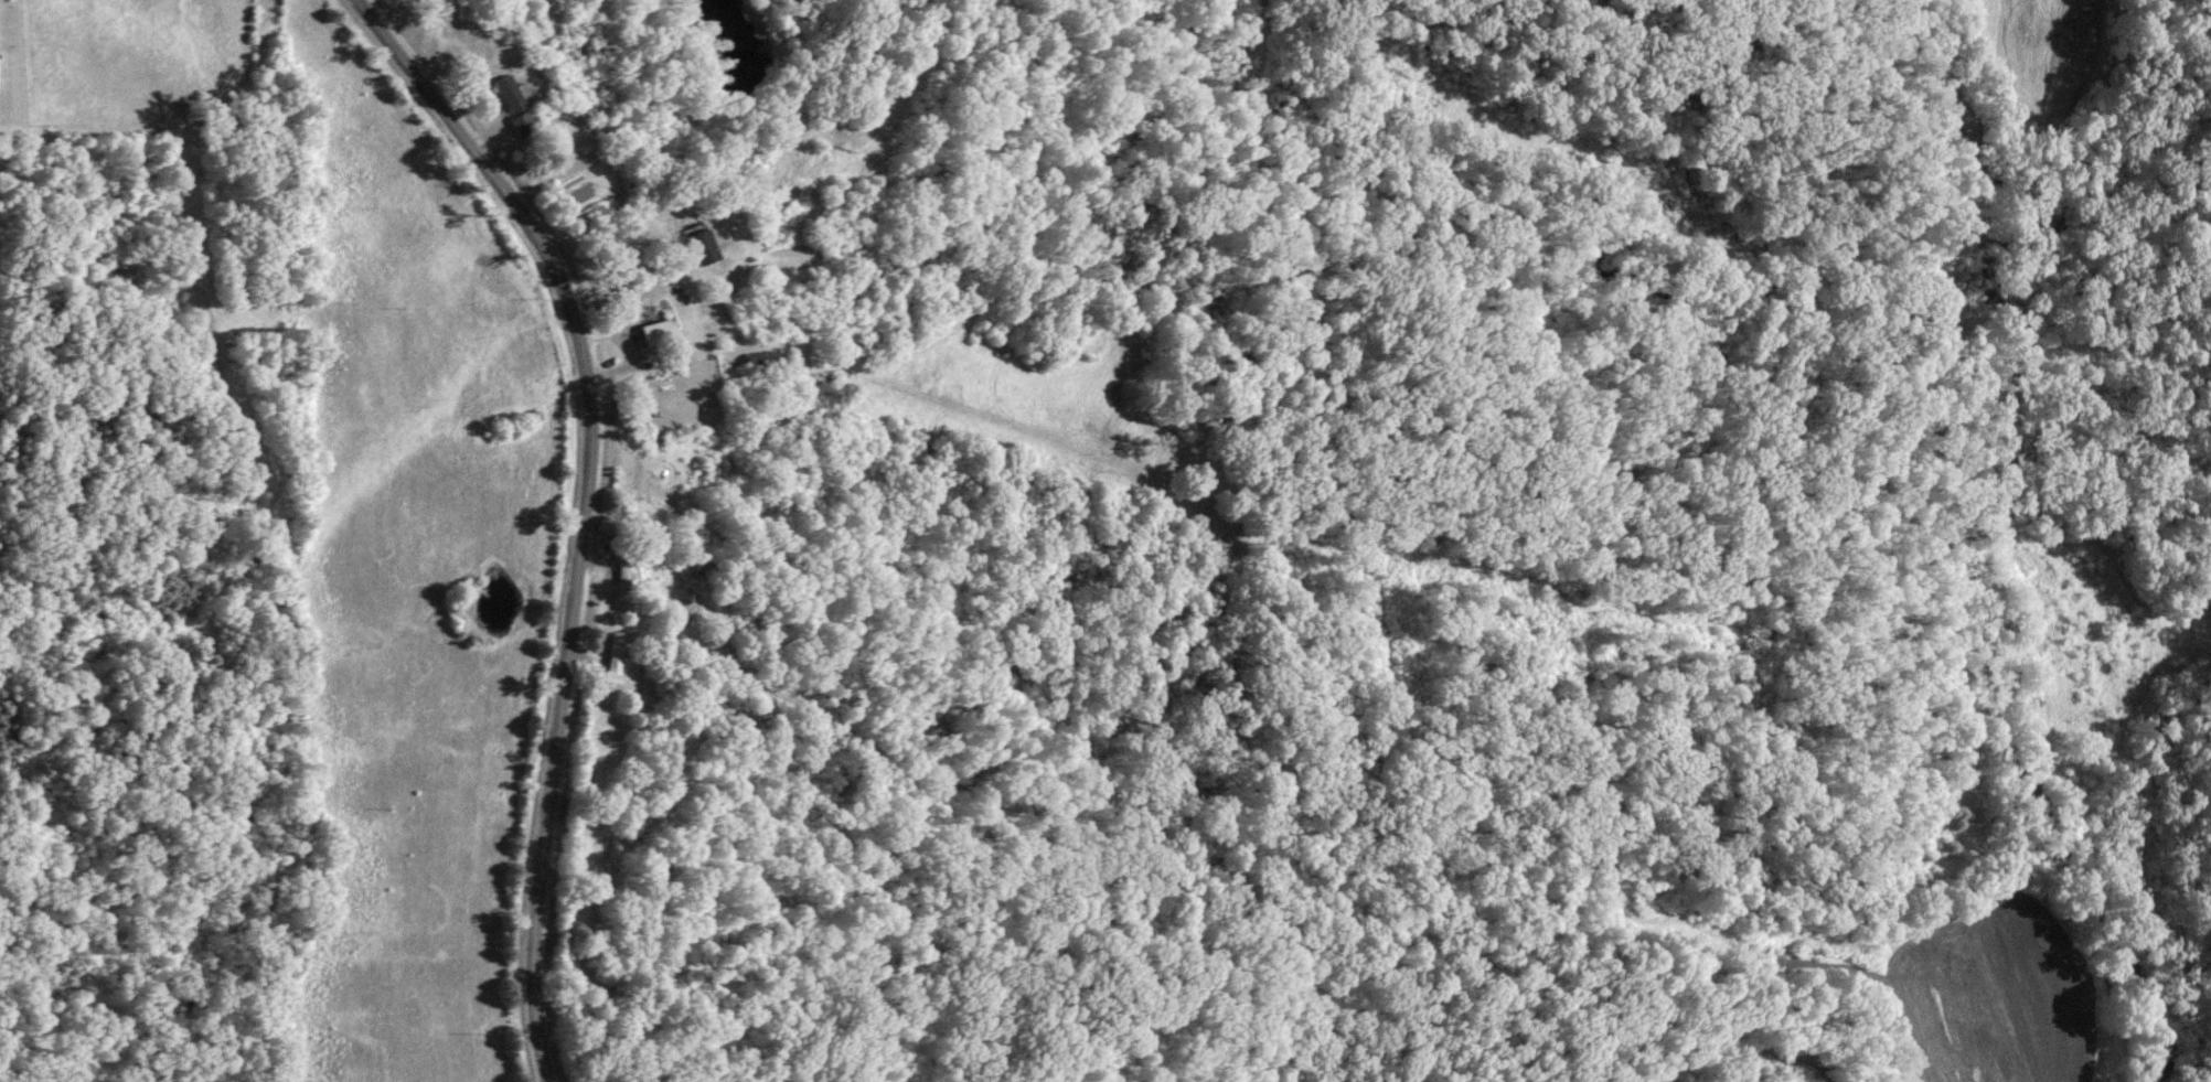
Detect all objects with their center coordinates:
building: (509, 94)
building: (522, 125)
building: (705, 248)
road: (649, 294)
building: (659, 334)
building: (763, 362)
road: (592, 506)

